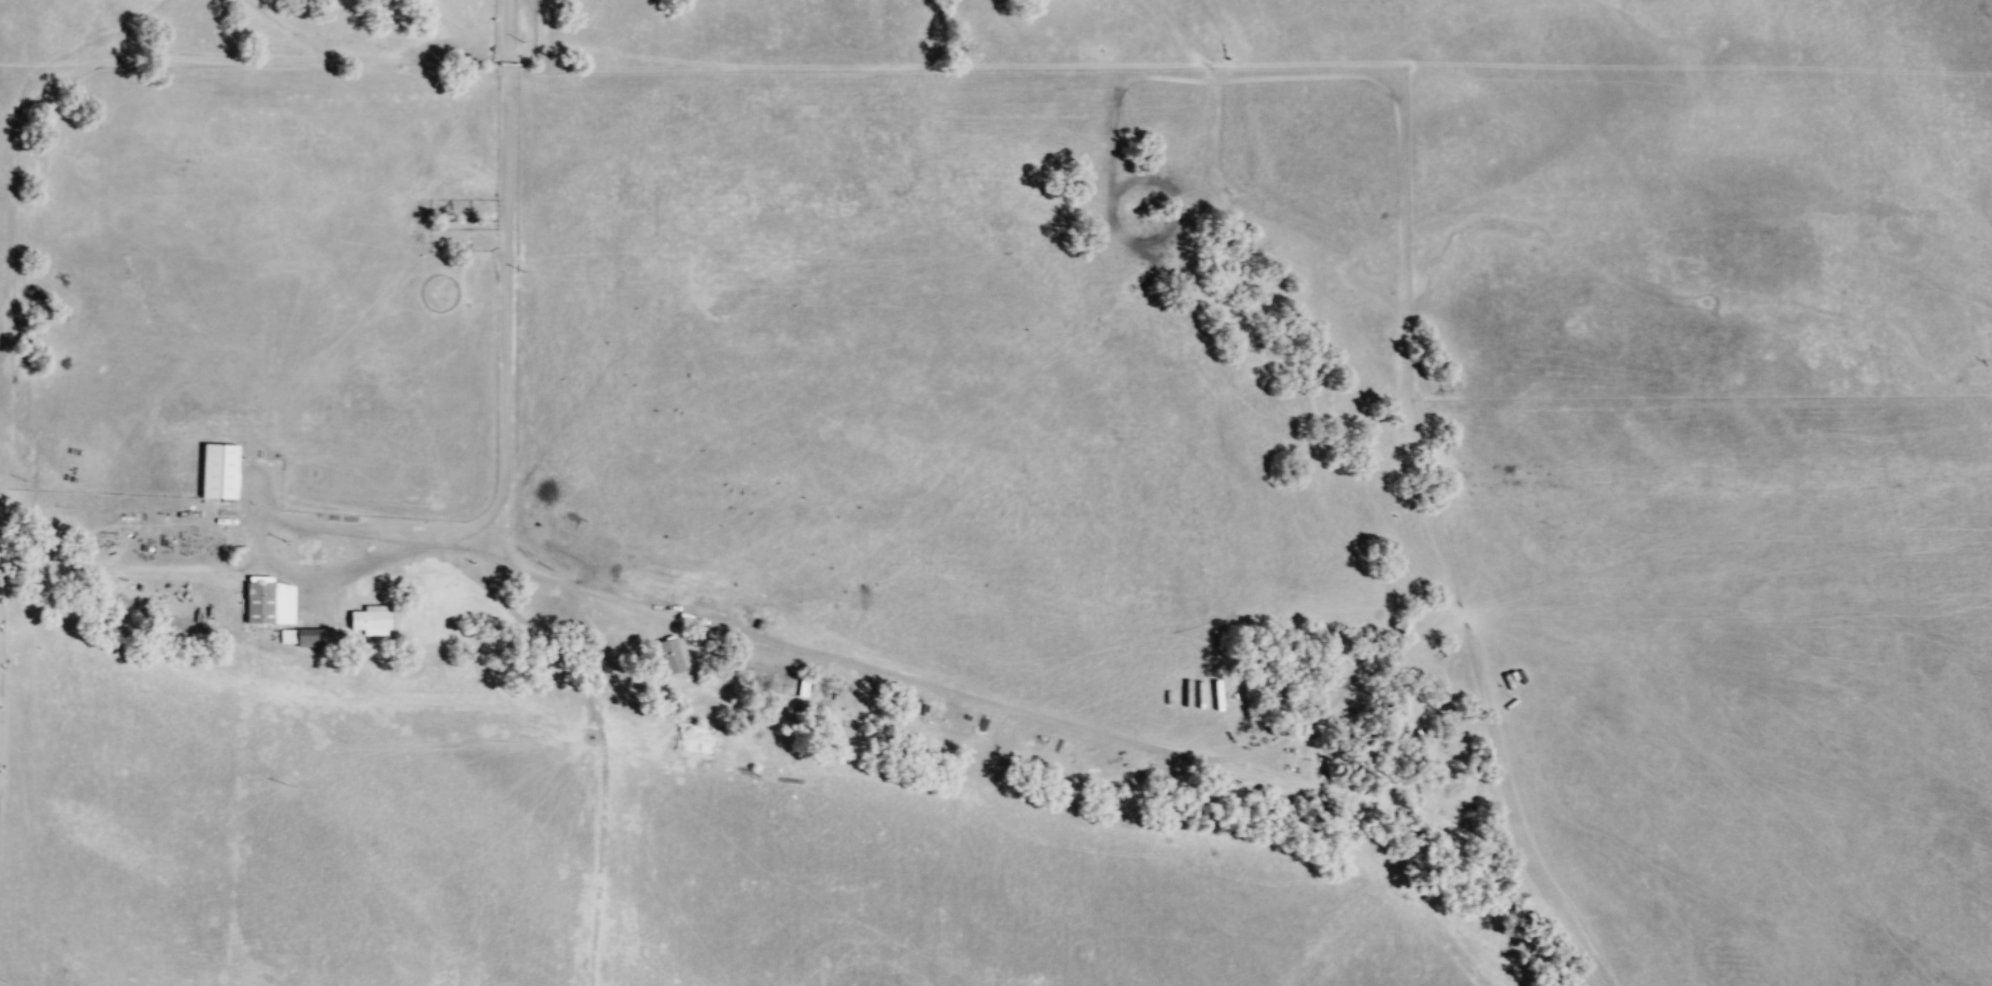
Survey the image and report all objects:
road: (510, 29)
road: (254, 58)
road: (508, 396)
building: (216, 470)
building: (368, 619)
building: (285, 635)
building: (313, 636)
building: (667, 655)
building: (771, 680)

